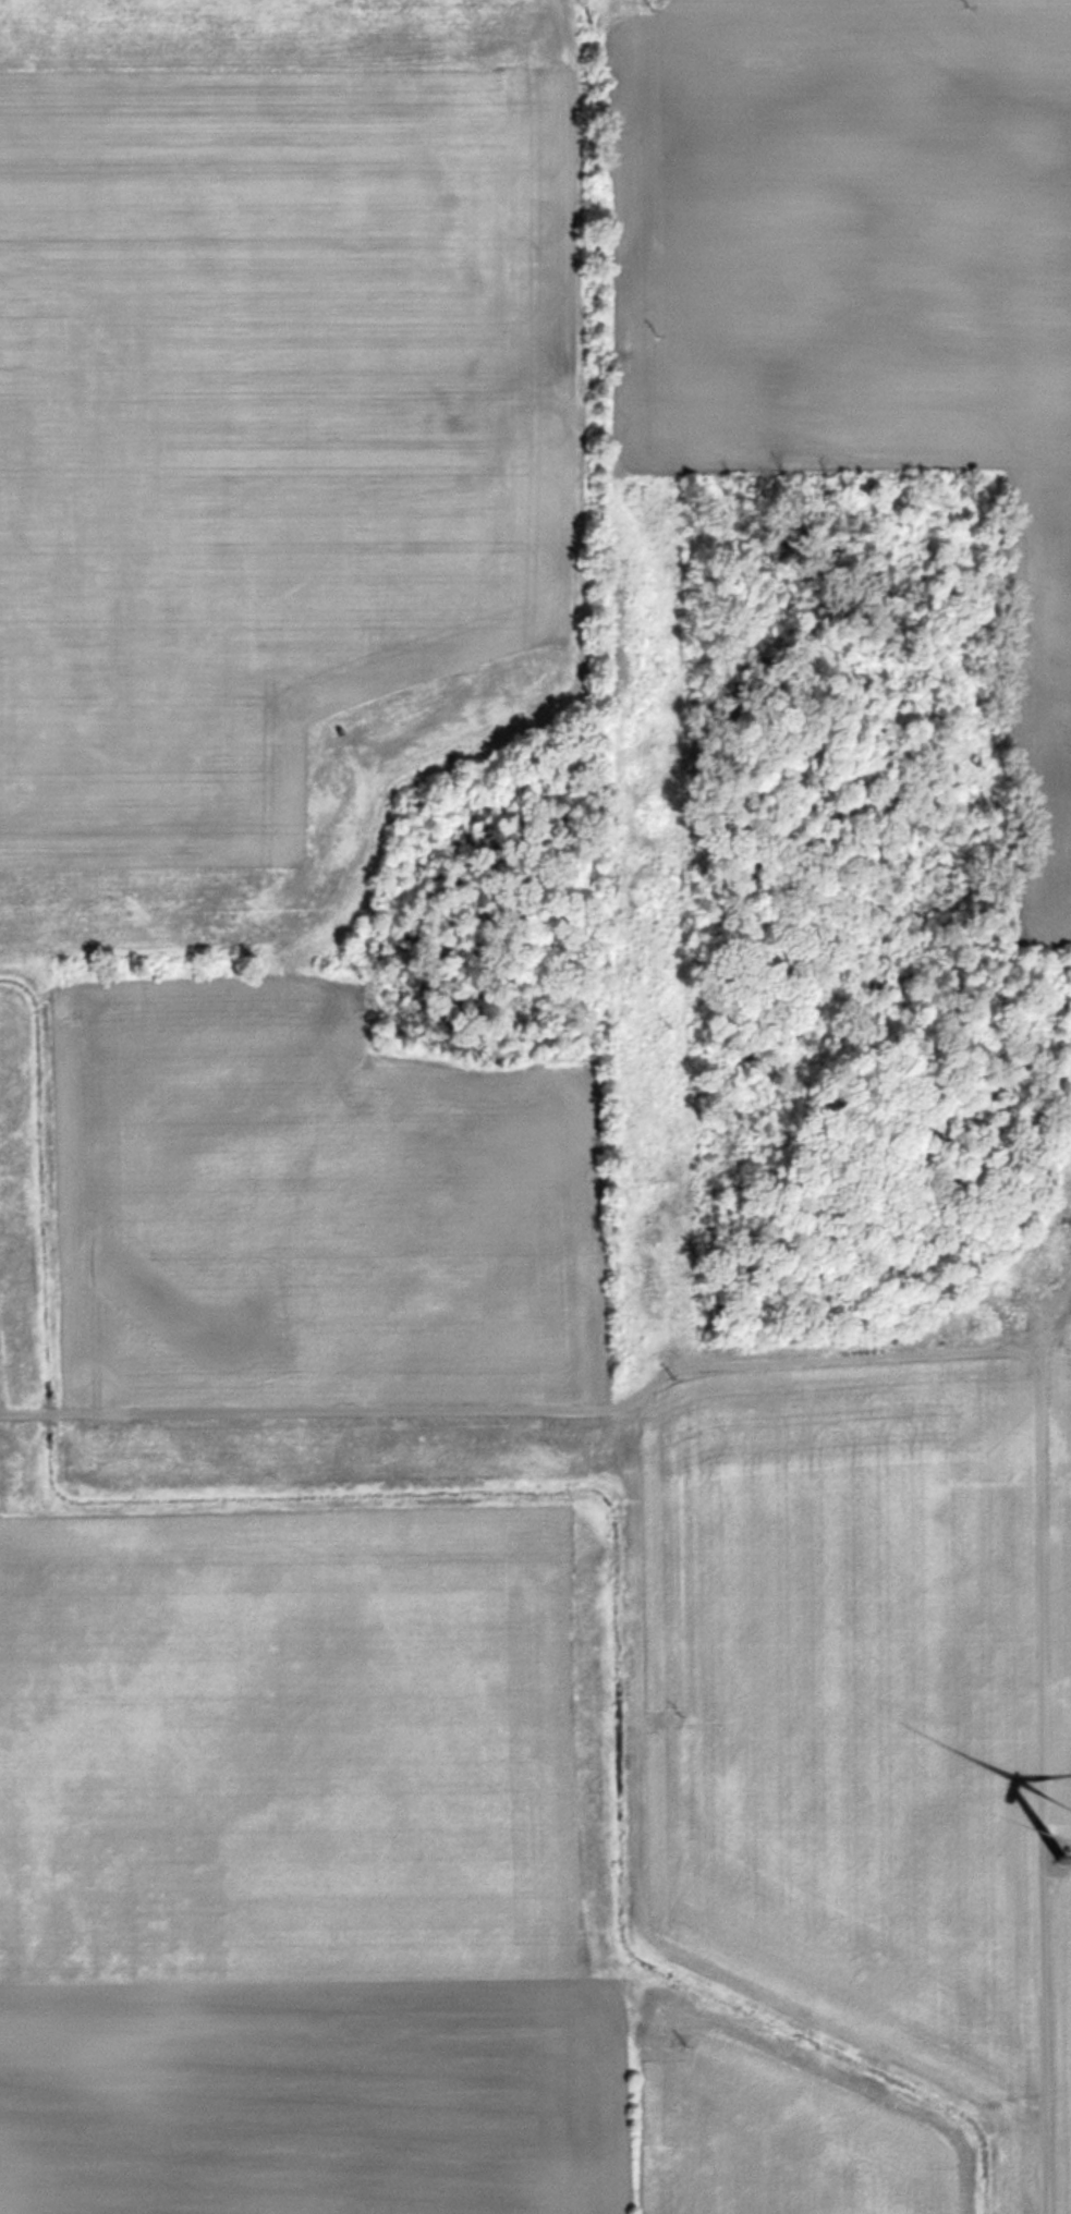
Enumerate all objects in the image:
power tower: (655, 0)
power tower: (661, 321)
power tower: (667, 664)
power tower: (670, 1019)
road: (937, 1352)
power tower: (680, 1372)
power tower: (683, 1704)
wind turbine: (1049, 1848)
power tower: (684, 2030)

